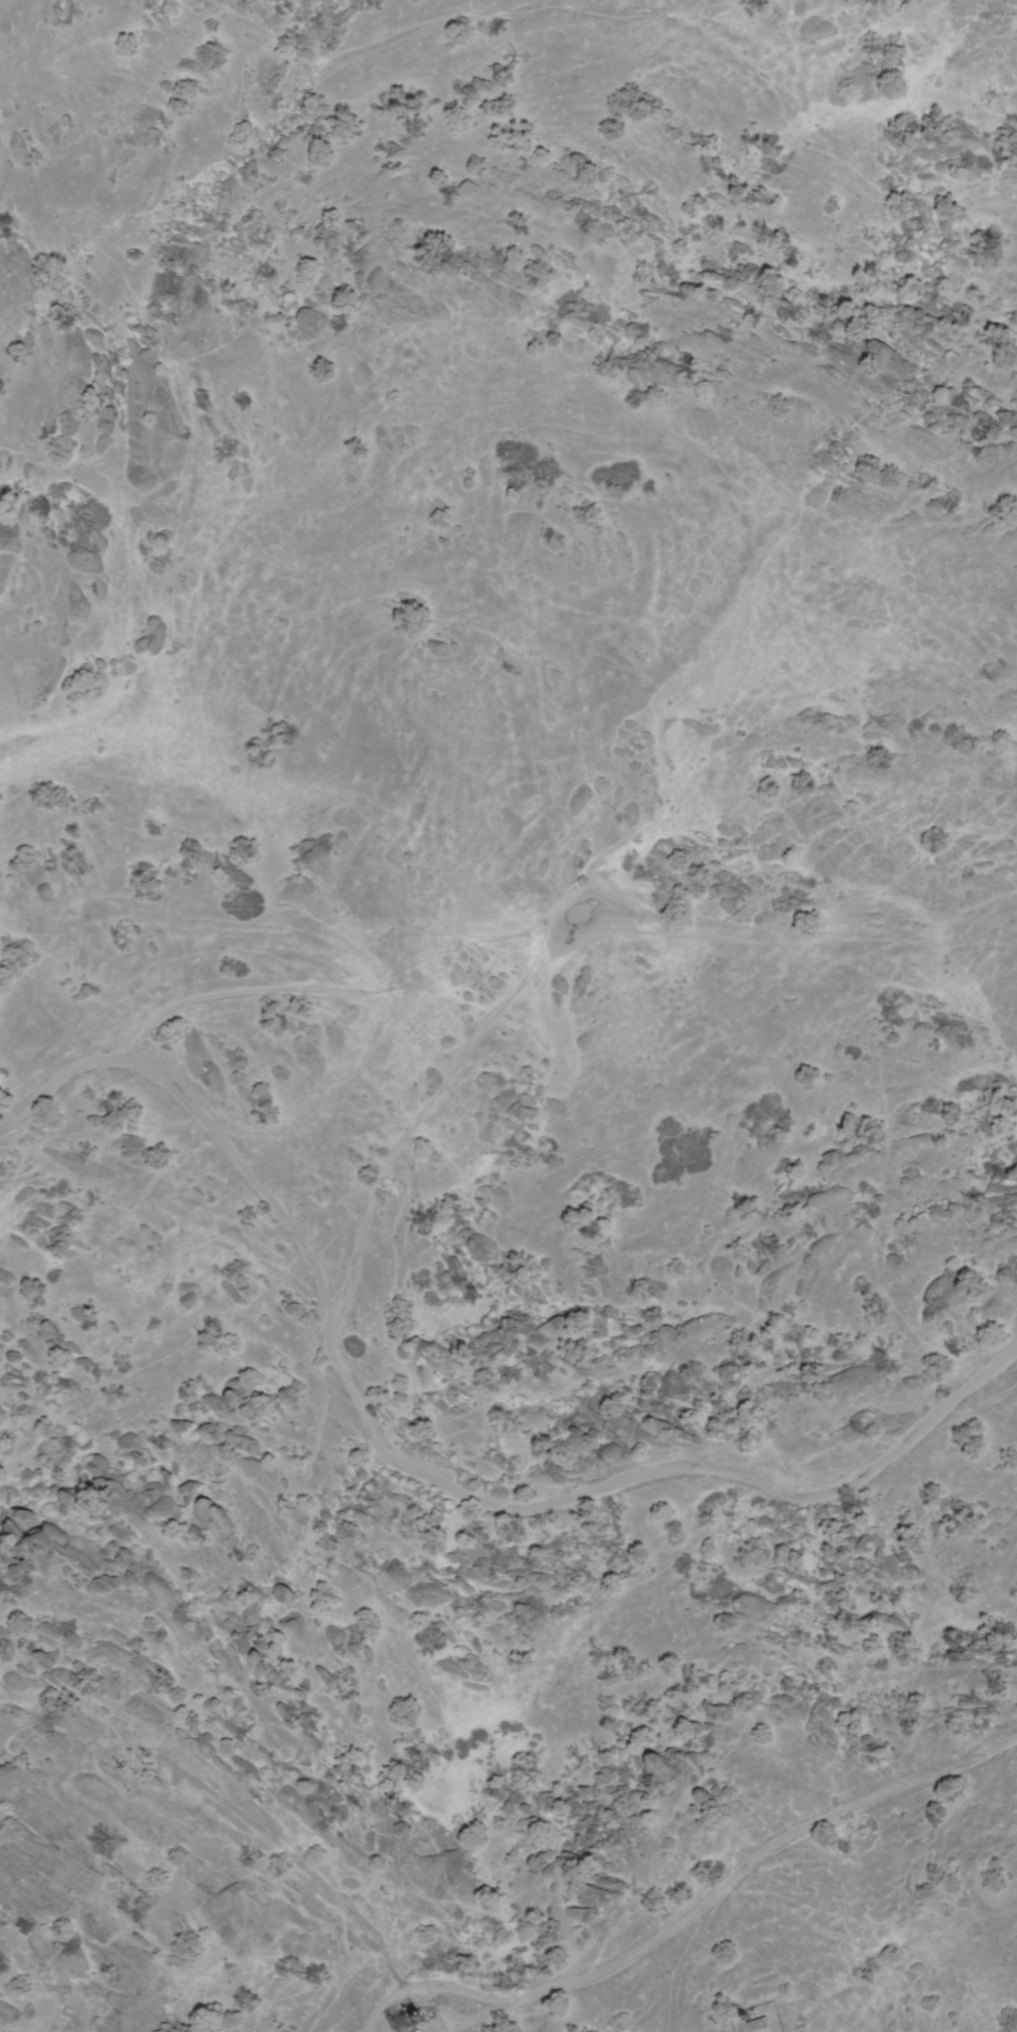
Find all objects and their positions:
road: (414, 1470)
road: (683, 1959)
road: (571, 1982)
road: (387, 2002)
road: (484, 2014)
building: (756, 2025)
building: (419, 2031)

